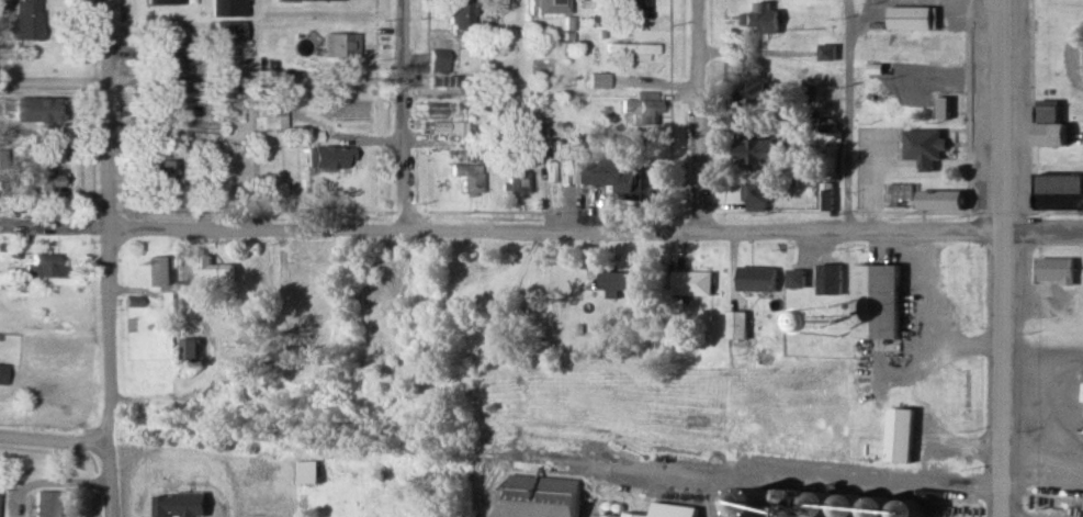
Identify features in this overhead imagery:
building: (166, 1)
building: (308, 1)
building: (552, 7)
building: (228, 8)
building: (635, 10)
building: (459, 14)
building: (910, 16)
building: (764, 18)
building: (24, 20)
building: (226, 31)
building: (340, 44)
building: (633, 50)
building: (827, 52)
building: (438, 61)
building: (177, 67)
building: (935, 77)
building: (291, 80)
building: (759, 95)
building: (943, 106)
building: (642, 109)
building: (46, 110)
road: (402, 114)
road: (696, 114)
road: (847, 115)
building: (272, 117)
building: (1047, 124)
building: (762, 136)
building: (924, 146)
building: (758, 151)
building: (332, 156)
building: (157, 173)
building: (467, 178)
building: (627, 180)
building: (47, 181)
building: (517, 182)
building: (1057, 191)
building: (758, 196)
building: (937, 199)
road: (71, 229)
road: (594, 229)
road: (105, 258)
road: (1000, 258)
building: (44, 267)
building: (1054, 270)
building: (214, 272)
building: (155, 273)
building: (831, 279)
building: (618, 280)
building: (757, 280)
building: (798, 280)
building: (293, 282)
building: (693, 282)
building: (879, 300)
water tower: (830, 324)
building: (738, 329)
road: (947, 344)
building: (191, 350)
building: (1, 373)
road: (425, 434)
building: (900, 435)
road: (52, 443)
building: (305, 472)
road: (846, 477)
road: (52, 482)
building: (540, 496)
building: (45, 504)
building: (353, 505)
building: (633, 515)

